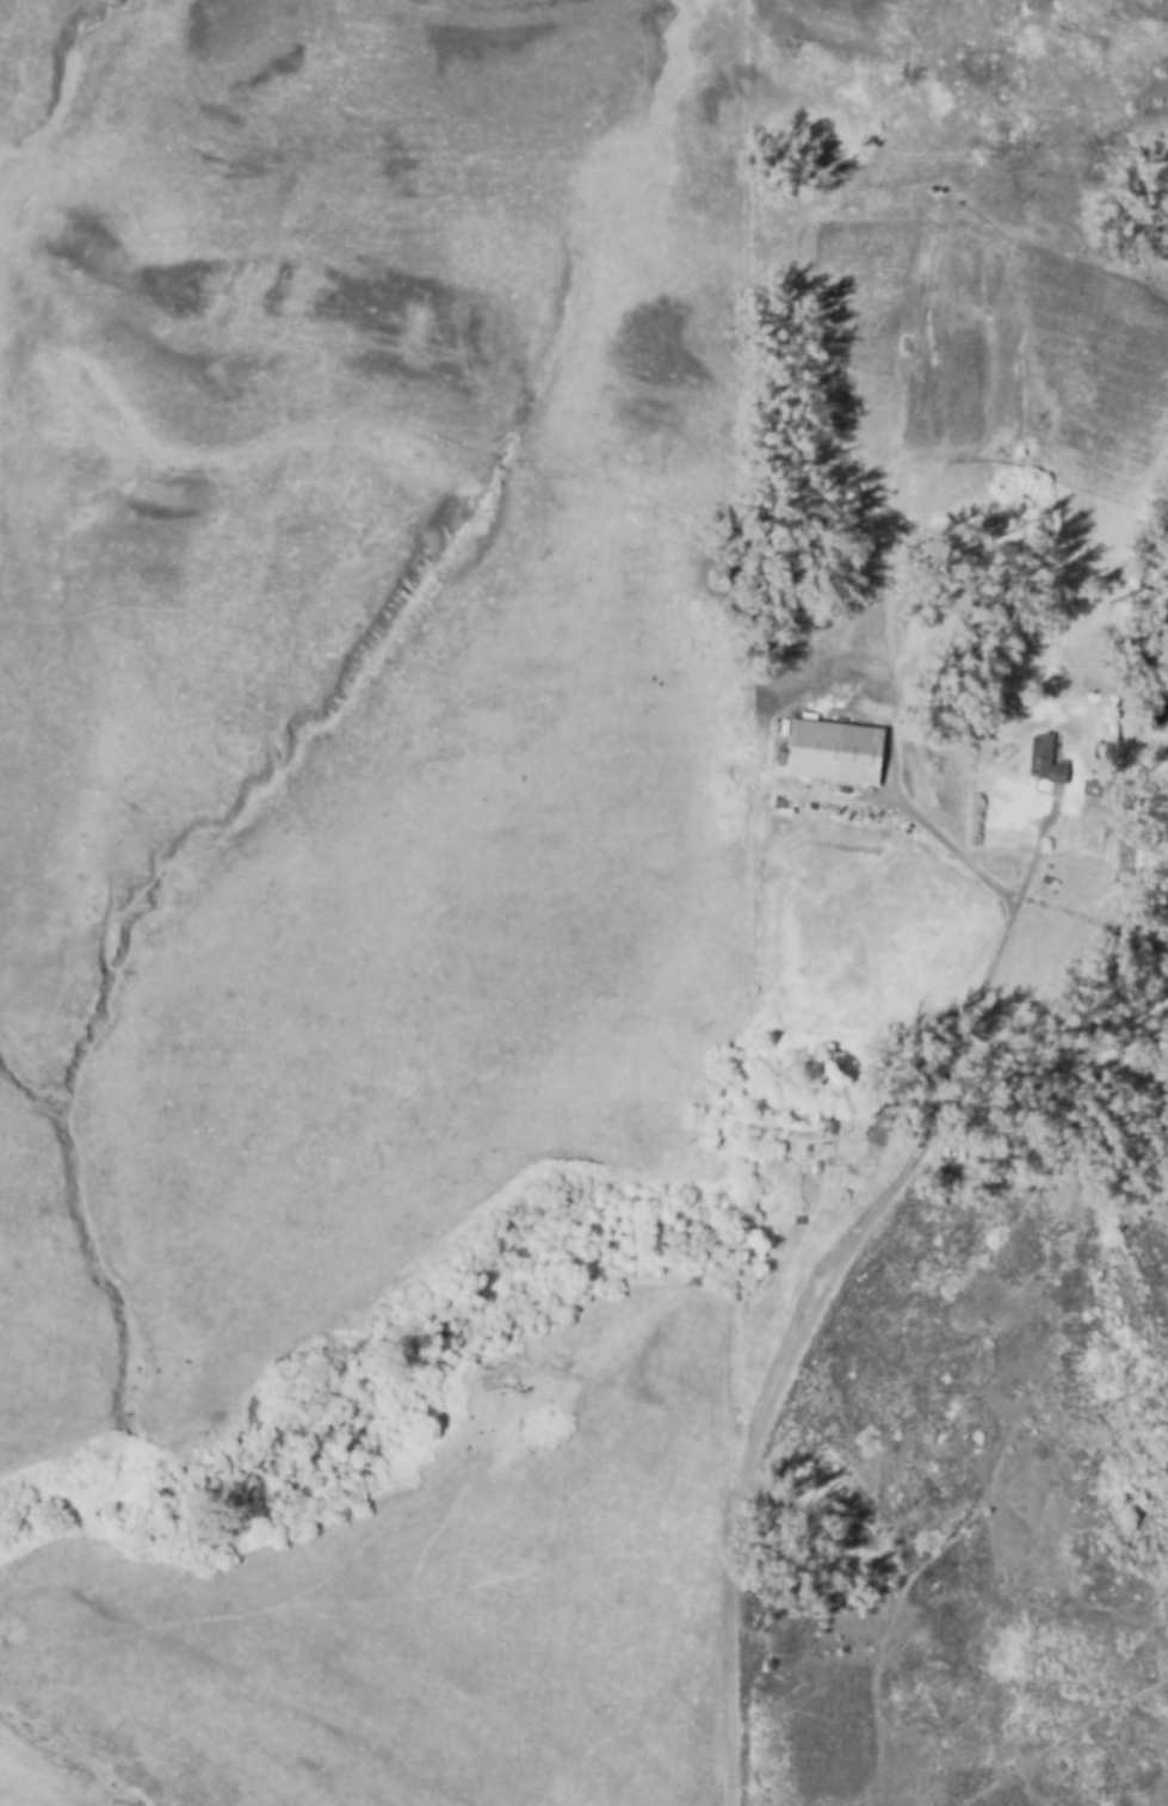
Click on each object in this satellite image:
building: (836, 752)
building: (1051, 760)
building: (1096, 781)
road: (933, 844)
road: (1038, 850)
road: (1094, 922)
building: (801, 1120)
building: (836, 1126)
building: (884, 1127)
road: (798, 1331)

